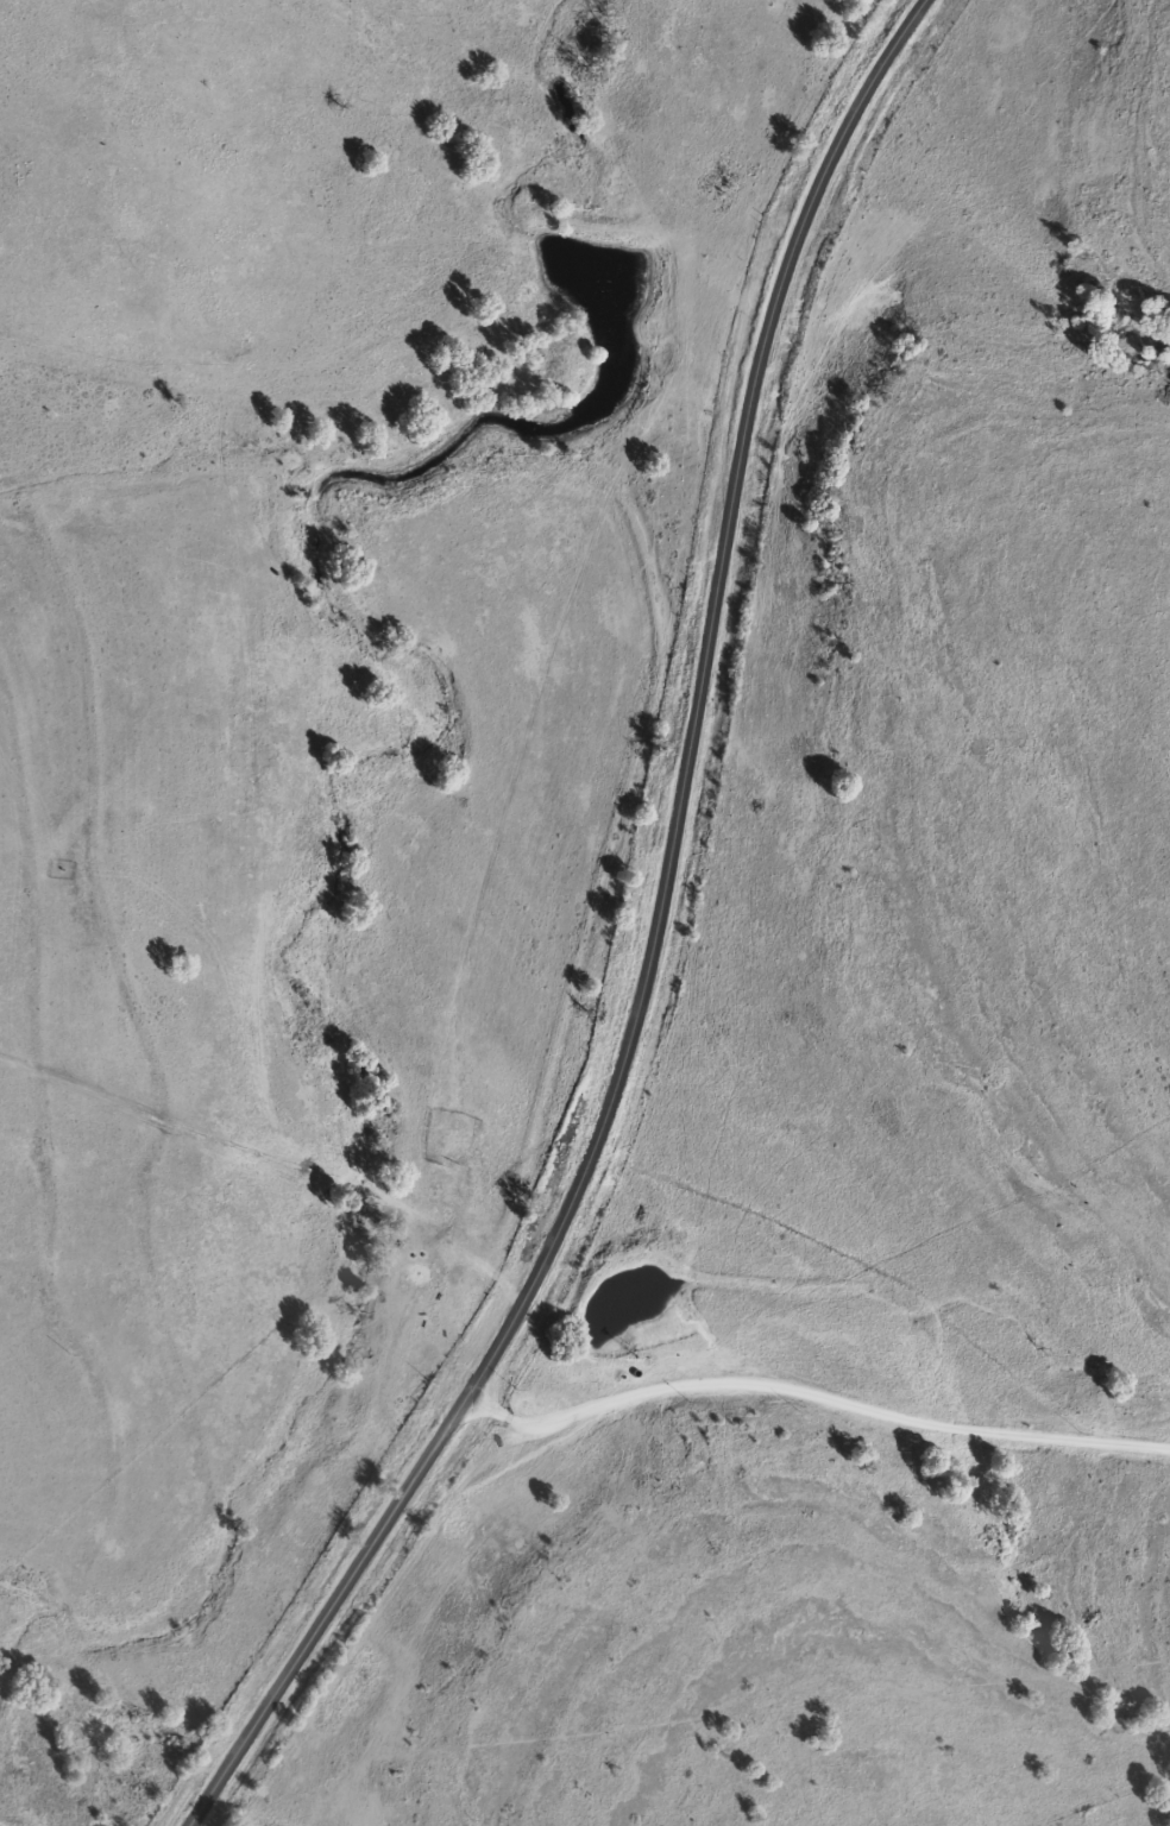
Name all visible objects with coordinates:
road: (653, 947)
road: (814, 1392)

